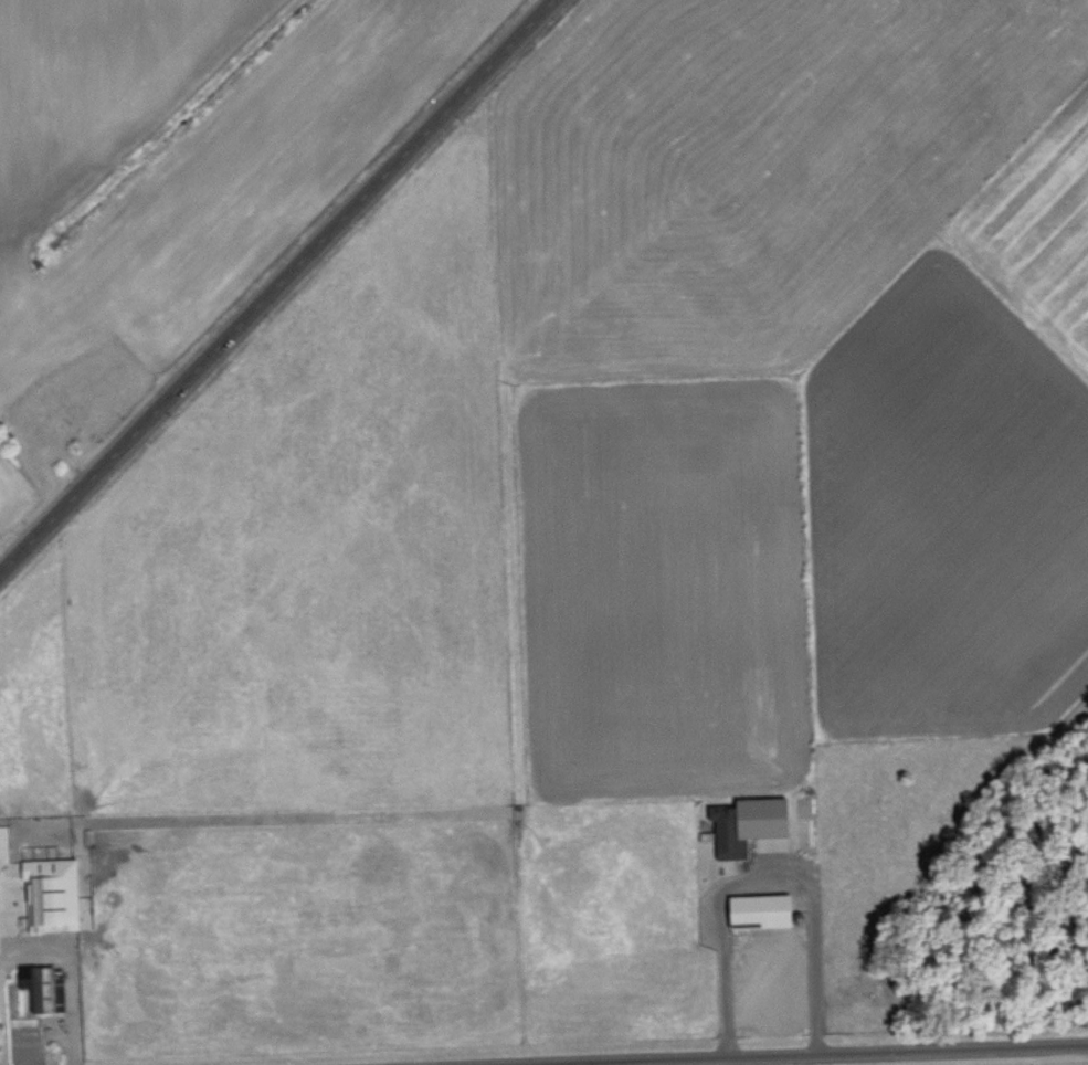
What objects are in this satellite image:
road: (279, 292)
building: (743, 823)
road: (756, 885)
building: (0, 894)
building: (56, 894)
building: (754, 910)
road: (72, 972)
building: (47, 988)
road: (836, 1055)
road: (0, 1058)
road: (677, 1063)

